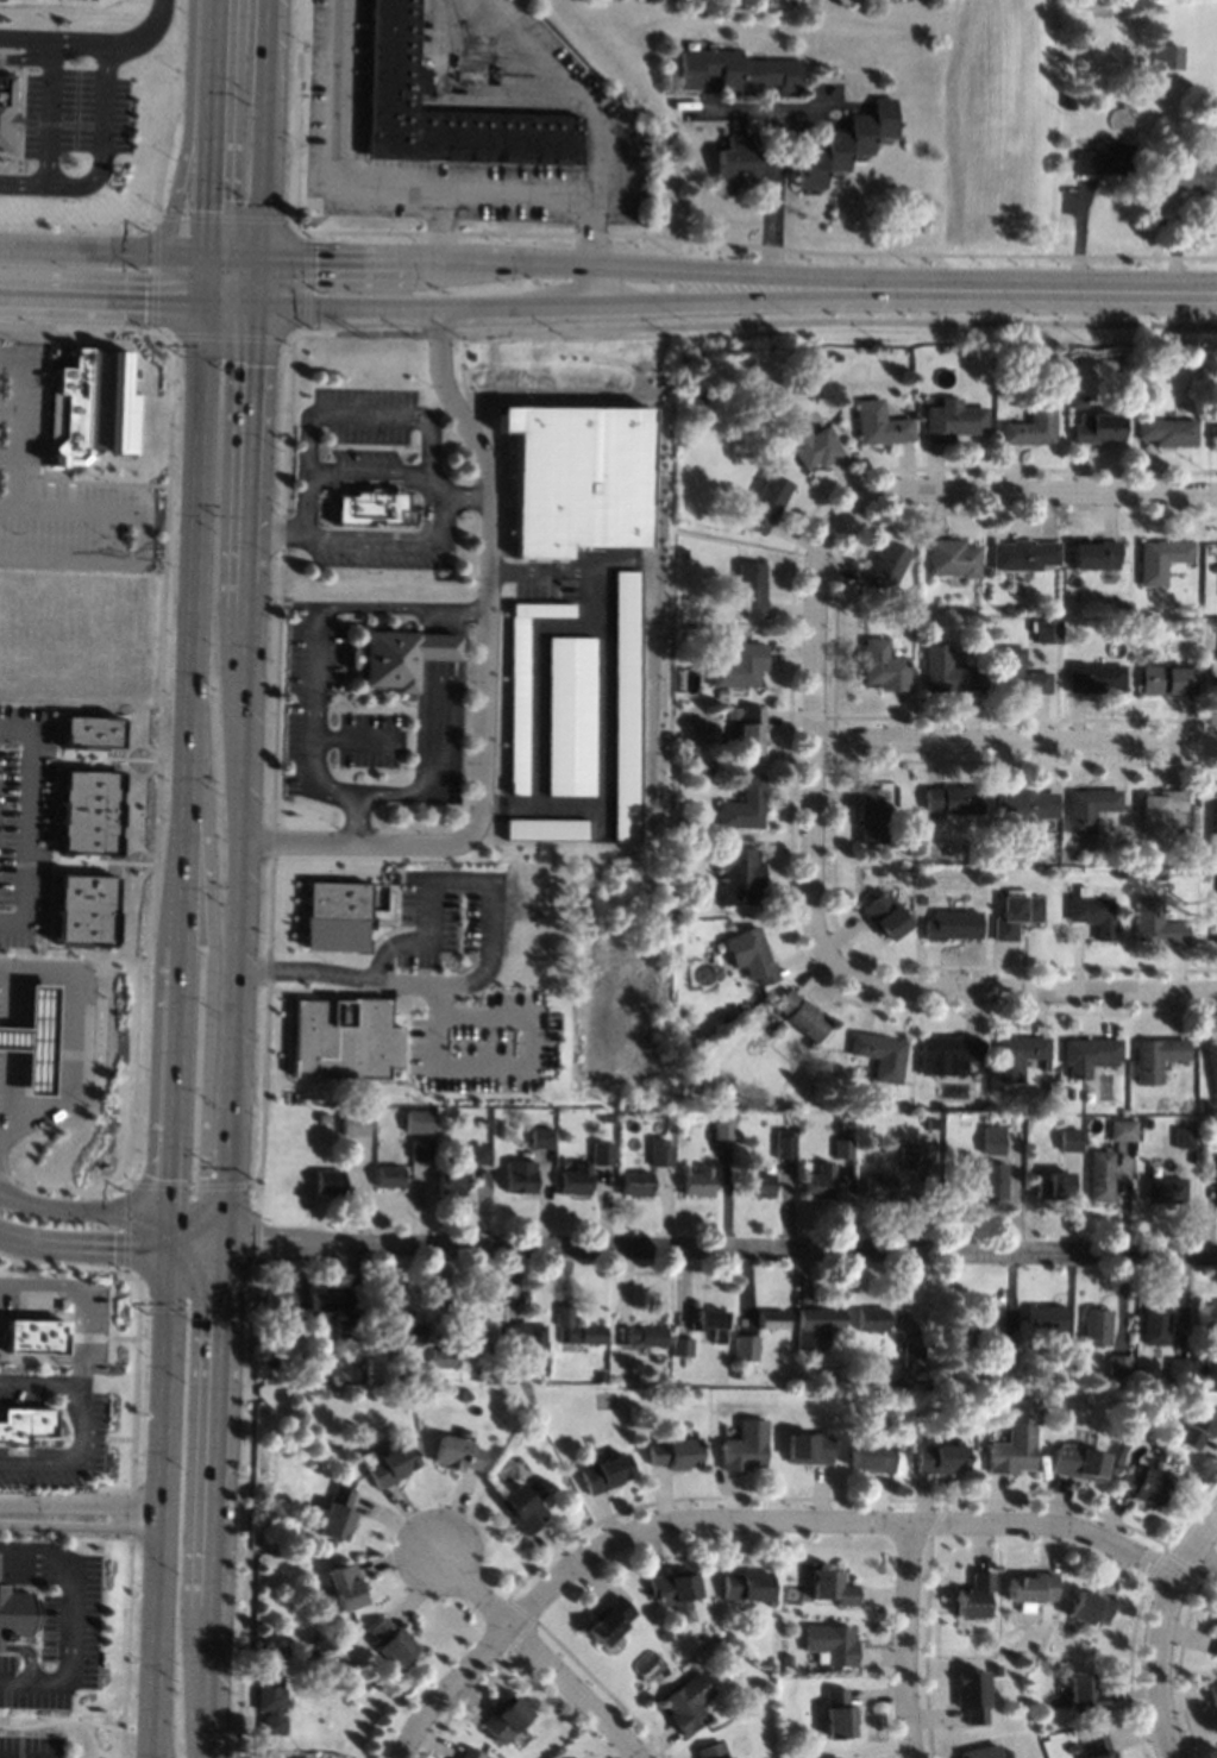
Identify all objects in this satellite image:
parking lot: (83, 0)
building: (1092, 5)
road: (94, 48)
building: (1167, 56)
road: (25, 59)
building: (736, 69)
building: (397, 79)
road: (105, 101)
building: (1067, 102)
parking lot: (586, 107)
building: (6, 112)
parking lot: (75, 114)
road: (46, 115)
road: (209, 127)
road: (263, 128)
road: (186, 133)
building: (846, 142)
building: (1103, 157)
building: (736, 162)
road: (773, 167)
building: (1191, 176)
road: (59, 186)
road: (490, 190)
traffic signals: (208, 206)
road: (439, 225)
road: (595, 249)
road: (103, 251)
road: (232, 256)
traffic signals: (314, 258)
road: (575, 265)
road: (206, 280)
road: (257, 281)
road: (1054, 291)
road: (101, 299)
traffic signals: (144, 301)
road: (230, 304)
road: (573, 304)
road: (747, 324)
road: (86, 328)
road: (226, 335)
building: (941, 350)
building: (802, 354)
building: (836, 357)
building: (1196, 363)
traffic signals: (253, 365)
building: (1137, 378)
building: (1014, 397)
building: (1077, 402)
building: (88, 408)
road: (7, 409)
road: (341, 413)
building: (951, 421)
building: (1216, 422)
road: (13, 425)
building: (879, 425)
building: (1031, 425)
road: (40, 427)
parking lot: (362, 427)
building: (1096, 428)
building: (1166, 432)
building: (810, 445)
road: (250, 454)
road: (6, 457)
road: (368, 467)
road: (25, 469)
building: (575, 477)
road: (100, 482)
road: (1029, 488)
parking lot: (58, 492)
road: (45, 495)
road: (68, 496)
road: (196, 498)
building: (767, 502)
building: (375, 508)
road: (427, 510)
road: (140, 535)
road: (746, 544)
road: (397, 546)
building: (682, 553)
building: (1024, 555)
building: (1096, 555)
parking lot: (374, 557)
building: (952, 558)
building: (1161, 560)
building: (884, 569)
building: (751, 590)
road: (376, 607)
building: (1117, 607)
road: (459, 611)
road: (433, 621)
building: (905, 624)
building: (1046, 632)
road: (432, 646)
road: (598, 647)
building: (399, 657)
building: (1094, 659)
road: (244, 663)
building: (739, 666)
building: (883, 666)
building: (1212, 670)
building: (947, 671)
building: (1018, 673)
building: (1094, 678)
building: (1166, 678)
road: (483, 682)
road: (533, 684)
building: (520, 686)
parking lot: (307, 702)
building: (677, 703)
building: (623, 705)
building: (733, 712)
building: (567, 715)
road: (314, 716)
road: (431, 726)
building: (751, 732)
building: (89, 733)
road: (810, 736)
road: (357, 739)
road: (1014, 740)
road: (454, 746)
building: (692, 747)
road: (40, 754)
road: (106, 758)
road: (157, 759)
road: (54, 789)
building: (953, 799)
building: (745, 805)
building: (1025, 805)
road: (539, 806)
building: (1090, 808)
building: (1160, 810)
building: (87, 812)
building: (872, 816)
road: (356, 817)
road: (186, 818)
parking lot: (23, 822)
road: (24, 823)
building: (544, 829)
building: (1215, 829)
building: (683, 859)
building: (1188, 859)
road: (25, 862)
road: (102, 862)
building: (741, 875)
road: (459, 878)
road: (49, 904)
building: (82, 910)
building: (1094, 912)
road: (34, 915)
building: (1016, 915)
building: (884, 916)
building: (334, 917)
building: (1216, 919)
building: (1159, 924)
building: (952, 925)
road: (209, 955)
building: (751, 955)
road: (236, 968)
road: (1025, 991)
building: (395, 1003)
building: (802, 1016)
building: (341, 1037)
road: (65, 1038)
building: (32, 1040)
road: (437, 1040)
building: (880, 1054)
building: (1090, 1054)
building: (947, 1055)
building: (1018, 1055)
building: (1156, 1057)
building: (1046, 1065)
building: (1212, 1066)
road: (175, 1079)
building: (732, 1101)
building: (890, 1104)
building: (935, 1105)
building: (1205, 1106)
building: (608, 1117)
building: (669, 1117)
building: (324, 1118)
building: (419, 1120)
building: (355, 1124)
building: (723, 1129)
building: (1123, 1130)
building: (1209, 1135)
building: (1184, 1136)
building: (541, 1137)
building: (991, 1139)
building: (1069, 1139)
building: (785, 1148)
building: (420, 1149)
building: (842, 1149)
building: (602, 1153)
building: (661, 1153)
building: (479, 1154)
building: (911, 1156)
building: (521, 1175)
building: (1099, 1175)
traffic signals: (172, 1176)
traffic signals: (202, 1176)
building: (390, 1176)
building: (576, 1180)
building: (698, 1181)
building: (992, 1181)
building: (328, 1182)
building: (452, 1182)
building: (818, 1182)
road: (127, 1183)
road: (251, 1183)
building: (636, 1183)
building: (757, 1185)
road: (189, 1186)
building: (877, 1186)
building: (1053, 1186)
road: (64, 1189)
building: (1165, 1191)
road: (253, 1199)
road: (84, 1210)
road: (187, 1216)
road: (213, 1217)
road: (125, 1230)
road: (238, 1230)
road: (170, 1232)
road: (222, 1235)
road: (208, 1236)
traffic signals: (259, 1242)
road: (734, 1242)
road: (251, 1243)
road: (83, 1245)
road: (237, 1247)
traffic signals: (113, 1248)
road: (196, 1250)
road: (73, 1289)
road: (250, 1292)
building: (277, 1300)
building: (325, 1301)
road: (143, 1307)
road: (195, 1308)
road: (246, 1311)
traffic signals: (219, 1317)
building: (1045, 1318)
building: (771, 1319)
building: (871, 1319)
building: (295, 1323)
building: (711, 1323)
parking lot: (93, 1324)
building: (817, 1324)
building: (987, 1324)
building: (1154, 1325)
building: (1096, 1326)
building: (344, 1327)
building: (578, 1327)
building: (1215, 1327)
building: (359, 1329)
building: (404, 1332)
building: (475, 1333)
building: (644, 1335)
building: (31, 1336)
road: (108, 1337)
building: (527, 1338)
building: (949, 1338)
building: (683, 1346)
building: (746, 1348)
building: (914, 1356)
building: (445, 1357)
road: (39, 1358)
building: (1004, 1360)
building: (1118, 1364)
building: (1064, 1368)
building: (1216, 1368)
building: (1178, 1369)
road: (80, 1371)
building: (748, 1371)
building: (500, 1373)
road: (133, 1375)
building: (393, 1375)
building: (602, 1377)
building: (1143, 1379)
building: (937, 1380)
building: (400, 1401)
road: (77, 1421)
building: (1199, 1425)
building: (25, 1426)
road: (215, 1430)
road: (105, 1438)
building: (513, 1445)
building: (745, 1446)
building: (808, 1449)
building: (1012, 1450)
road: (38, 1451)
building: (457, 1454)
building: (677, 1454)
building: (871, 1456)
building: (939, 1458)
building: (1078, 1464)
building: (393, 1465)
building: (606, 1473)
building: (1144, 1484)
road: (81, 1502)
road: (163, 1503)
building: (522, 1508)
road: (130, 1513)
building: (338, 1514)
road: (833, 1521)
road: (81, 1526)
road: (56, 1550)
road: (36, 1575)
building: (747, 1584)
building: (347, 1587)
road: (475, 1587)
building: (833, 1587)
building: (673, 1589)
building: (1031, 1590)
building: (973, 1595)
building: (1089, 1607)
building: (14, 1612)
building: (610, 1620)
building: (1216, 1622)
building: (1215, 1632)
building: (314, 1634)
building: (666, 1635)
building: (727, 1635)
road: (1163, 1635)
road: (907, 1639)
building: (393, 1641)
building: (832, 1644)
parking lot: (58, 1645)
road: (125, 1647)
building: (1036, 1647)
building: (711, 1649)
building: (1216, 1651)
building: (306, 1653)
road: (33, 1655)
building: (788, 1660)
building: (995, 1670)
road: (70, 1674)
road: (209, 1683)
road: (448, 1685)
road: (576, 1688)
building: (1085, 1693)
building: (1213, 1694)
building: (972, 1696)
building: (271, 1702)
building: (688, 1702)
building: (839, 1714)
road: (61, 1719)
building: (506, 1720)
road: (19, 1741)
road: (157, 1741)
parking lot: (30, 1746)
building: (1099, 1747)
building: (1073, 1748)
building: (714, 1752)
building: (980, 1752)
building: (472, 1753)
building: (287, 1756)
building: (801, 1756)

